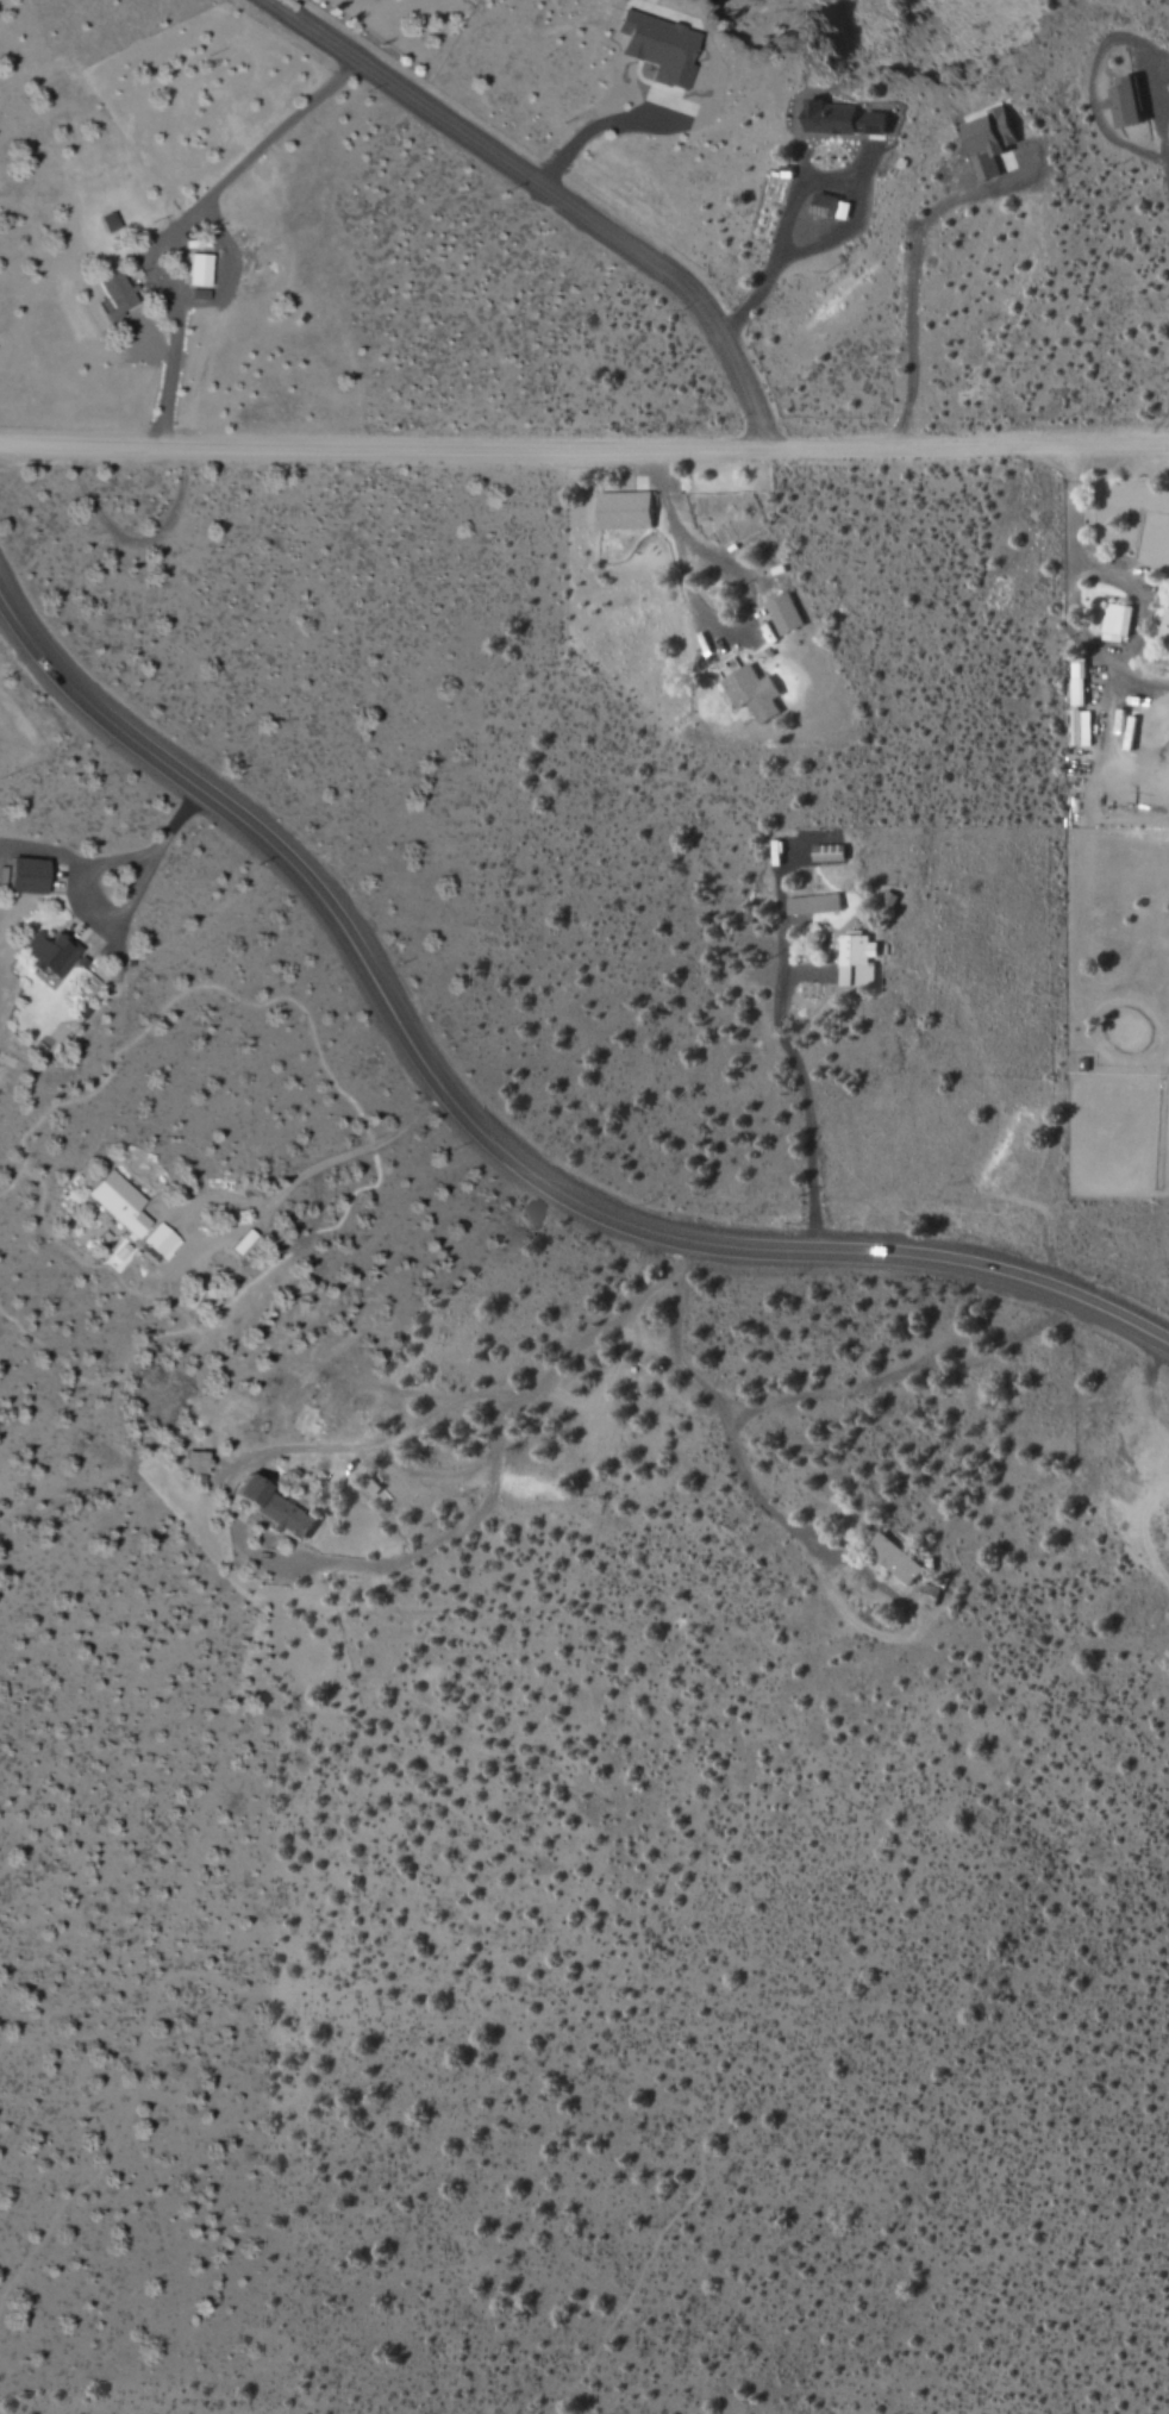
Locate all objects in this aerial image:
building: (659, 46)
building: (1127, 101)
building: (845, 118)
building: (992, 140)
road: (545, 194)
building: (111, 221)
building: (201, 269)
building: (117, 295)
road: (967, 444)
road: (382, 445)
building: (624, 509)
building: (784, 614)
road: (702, 623)
building: (1163, 626)
building: (1077, 683)
building: (750, 689)
building: (1080, 727)
building: (30, 875)
building: (888, 899)
building: (813, 905)
building: (54, 951)
building: (857, 961)
road: (804, 1086)
road: (481, 1137)
building: (120, 1202)
building: (163, 1240)
building: (277, 1507)
building: (895, 1558)

